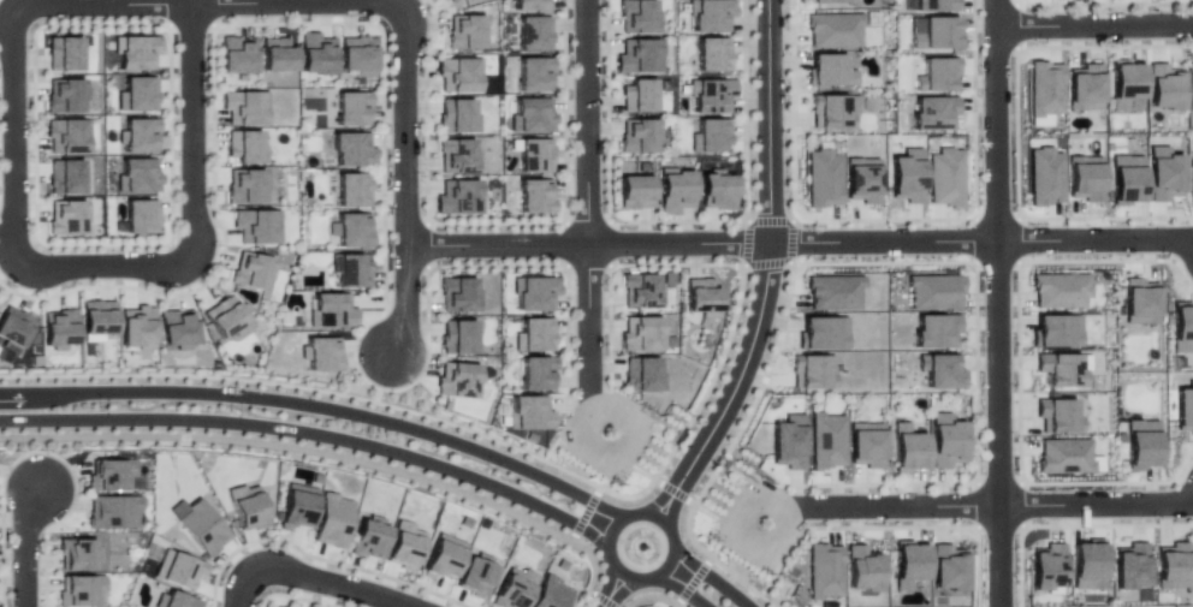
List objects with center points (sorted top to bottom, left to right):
building: (450, 1)
building: (829, 1)
road: (174, 2)
road: (194, 2)
road: (283, 2)
road: (1105, 4)
road: (87, 5)
building: (528, 5)
building: (934, 5)
road: (997, 11)
building: (707, 16)
building: (636, 17)
road: (1094, 26)
building: (832, 29)
building: (937, 31)
building: (464, 32)
building: (533, 32)
building: (136, 52)
building: (63, 53)
building: (314, 53)
building: (275, 54)
building: (356, 54)
building: (711, 54)
building: (236, 55)
building: (637, 55)
building: (827, 70)
building: (937, 72)
building: (458, 73)
building: (533, 75)
building: (1123, 83)
building: (1192, 84)
building: (1163, 87)
building: (1084, 88)
building: (1043, 91)
building: (64, 94)
building: (136, 94)
building: (637, 95)
building: (710, 95)
building: (243, 106)
building: (352, 106)
building: (831, 109)
building: (933, 111)
building: (532, 114)
building: (456, 115)
road: (404, 119)
road: (584, 121)
road: (768, 121)
road: (998, 131)
road: (1017, 131)
building: (138, 133)
building: (66, 135)
building: (639, 135)
building: (708, 135)
road: (184, 136)
building: (244, 145)
building: (352, 147)
building: (456, 155)
building: (532, 155)
building: (1164, 172)
building: (908, 174)
building: (946, 174)
building: (1045, 174)
building: (137, 175)
building: (1085, 175)
building: (64, 177)
building: (1127, 178)
building: (821, 179)
building: (861, 179)
building: (1192, 179)
building: (244, 185)
building: (352, 188)
building: (634, 191)
building: (673, 191)
building: (716, 191)
building: (534, 195)
building: (457, 197)
building: (66, 216)
building: (138, 216)
road: (883, 219)
road: (676, 220)
road: (494, 222)
building: (254, 225)
building: (352, 227)
road: (384, 239)
road: (789, 239)
road: (1096, 239)
road: (884, 240)
road: (161, 242)
road: (749, 242)
road: (497, 243)
road: (678, 243)
road: (888, 262)
road: (94, 267)
building: (249, 269)
building: (351, 269)
road: (1019, 285)
road: (95, 286)
building: (637, 290)
building: (1060, 290)
building: (932, 291)
building: (533, 292)
building: (833, 293)
building: (457, 294)
road: (406, 297)
building: (700, 297)
building: (1140, 299)
building: (332, 309)
building: (226, 316)
building: (96, 317)
road: (587, 320)
building: (1182, 326)
building: (13, 327)
building: (177, 327)
building: (137, 328)
building: (934, 328)
building: (59, 329)
building: (821, 331)
building: (1056, 331)
building: (534, 333)
building: (642, 333)
building: (456, 337)
building: (321, 351)
building: (1058, 369)
building: (939, 370)
building: (538, 371)
building: (811, 371)
building: (640, 374)
road: (97, 375)
building: (456, 381)
road: (735, 387)
road: (321, 405)
building: (1183, 406)
building: (529, 411)
building: (1056, 416)
road: (997, 423)
road: (313, 433)
road: (99, 436)
building: (827, 438)
building: (946, 439)
building: (785, 441)
building: (867, 442)
building: (1140, 442)
building: (909, 446)
road: (43, 456)
building: (1063, 457)
road: (642, 471)
building: (109, 474)
road: (428, 480)
road: (652, 481)
road: (1118, 481)
road: (673, 490)
road: (1094, 500)
road: (897, 502)
building: (248, 506)
building: (295, 506)
road: (705, 510)
building: (112, 511)
road: (584, 513)
building: (331, 520)
road: (1068, 524)
building: (197, 525)
road: (927, 526)
building: (367, 536)
road: (605, 542)
building: (403, 546)
building: (637, 546)
road: (713, 549)
road: (29, 551)
building: (77, 552)
building: (441, 557)
building: (907, 564)
road: (352, 565)
building: (1086, 565)
building: (1129, 565)
building: (1171, 565)
building: (860, 567)
building: (946, 569)
building: (1047, 569)
building: (177, 570)
building: (823, 572)
road: (215, 573)
road: (711, 576)
building: (474, 577)
road: (692, 581)
road: (766, 583)
road: (244, 584)
road: (338, 584)
building: (512, 588)
road: (681, 588)
building: (79, 589)
road: (610, 589)
road: (590, 593)
building: (547, 594)
road: (651, 595)
road: (297, 597)
building: (174, 600)
road: (605, 600)

